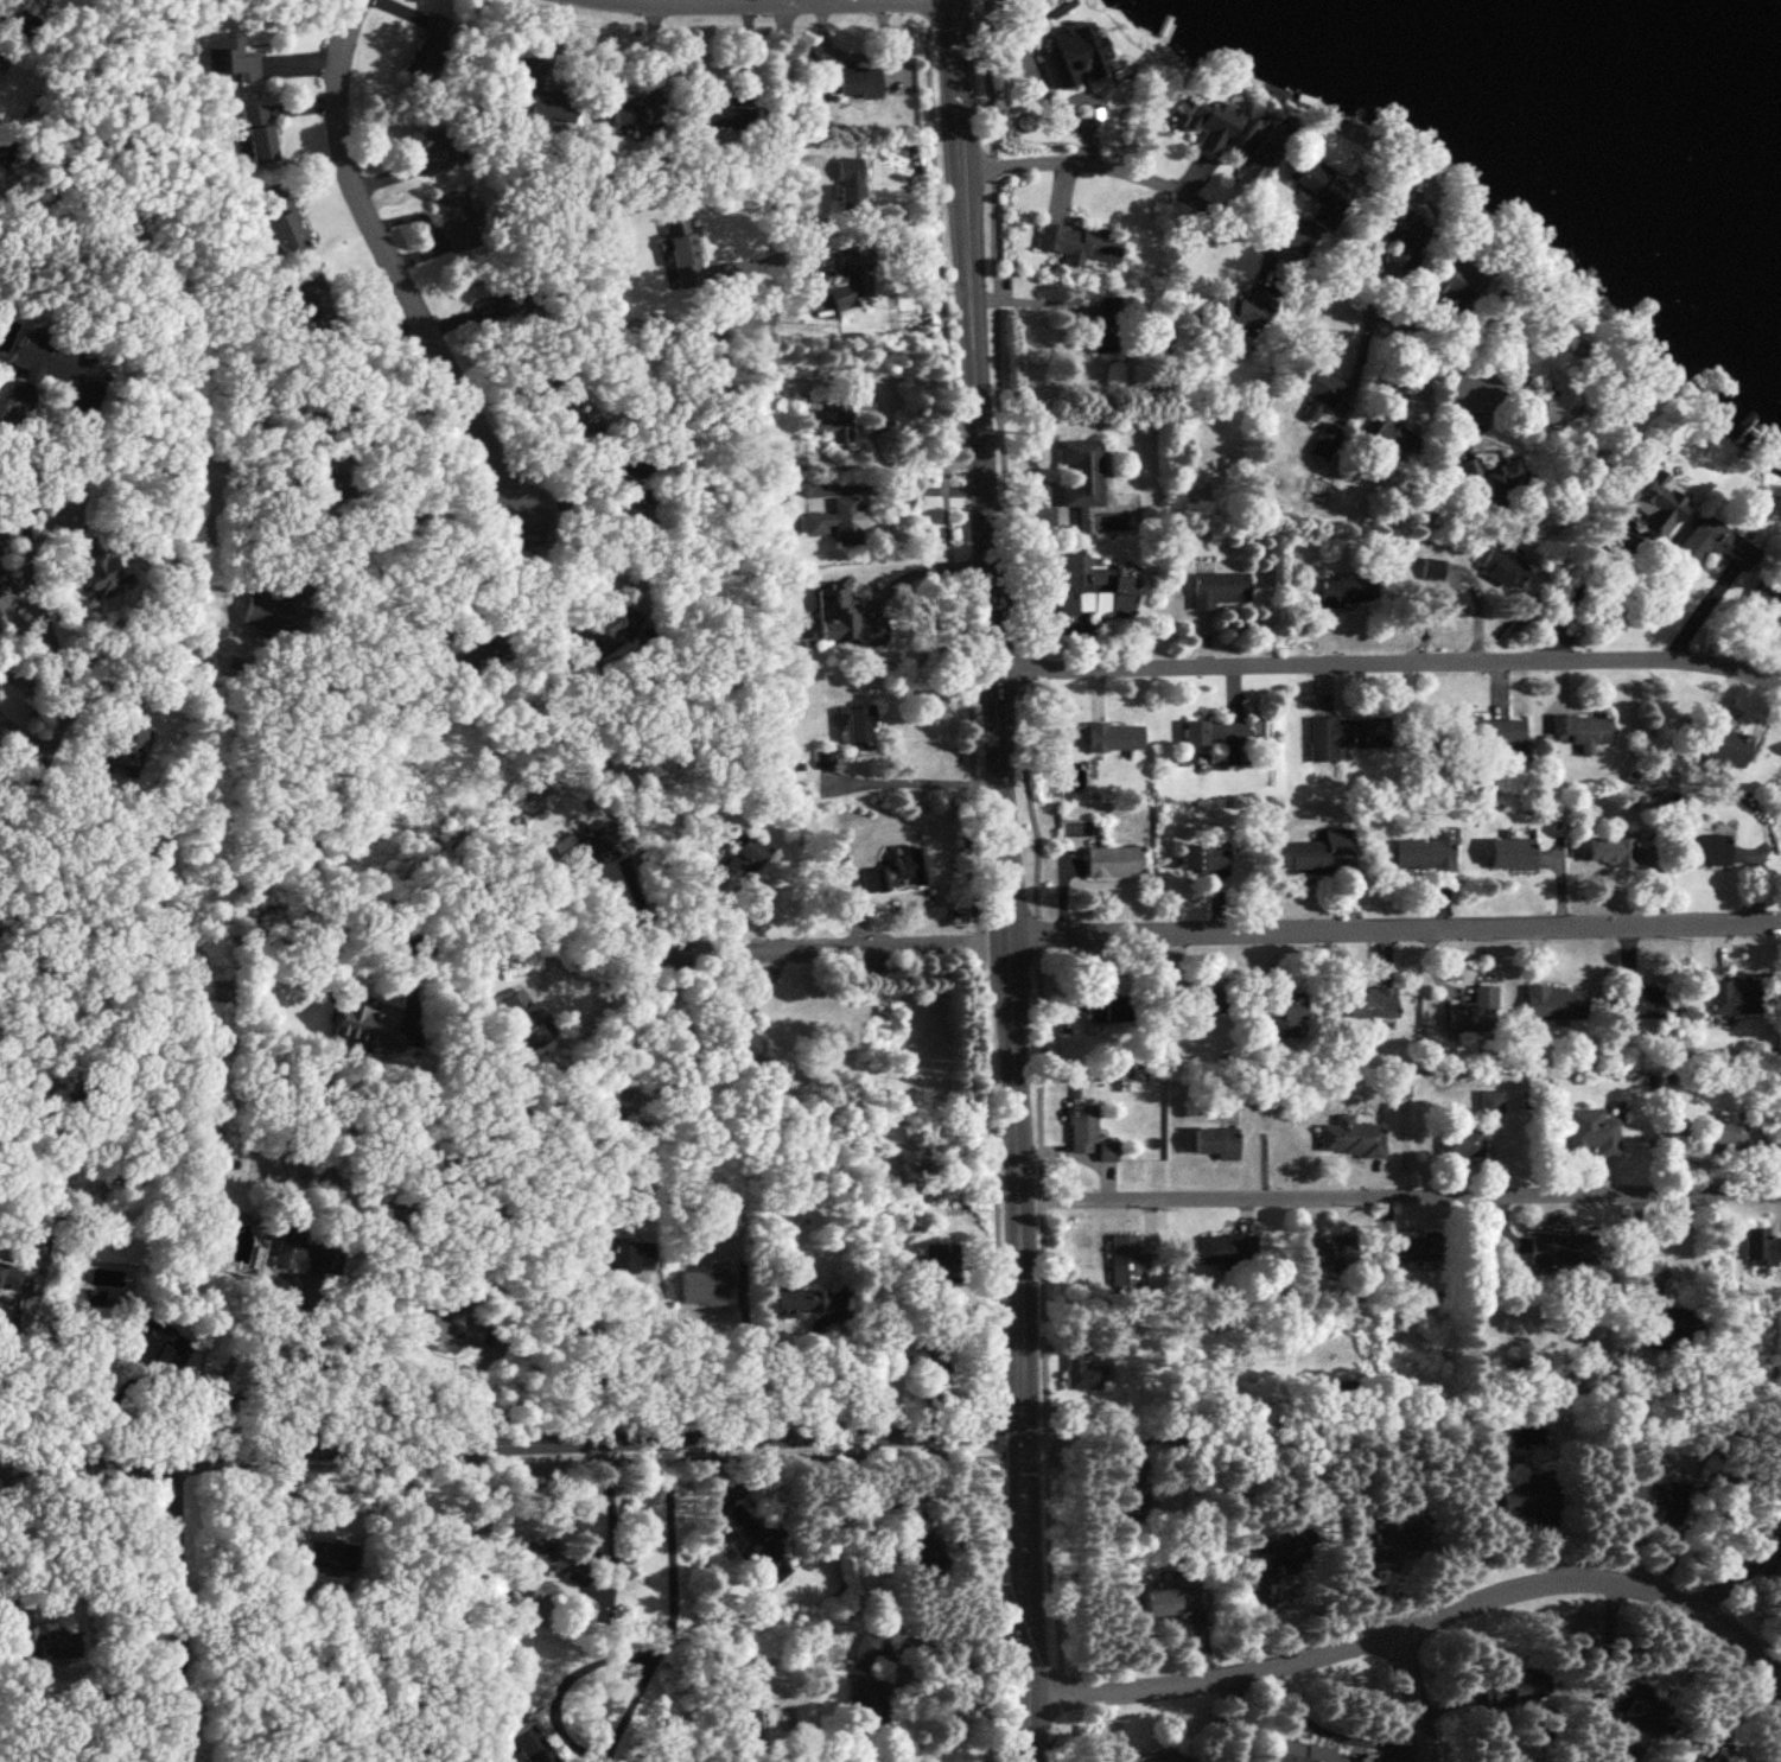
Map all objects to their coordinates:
road: (744, 1)
building: (18, 2)
building: (1071, 30)
building: (427, 44)
building: (229, 58)
river: (1720, 70)
building: (851, 82)
building: (540, 96)
building: (707, 113)
building: (635, 114)
building: (1206, 122)
building: (256, 133)
building: (1254, 148)
building: (433, 150)
road: (776, 150)
building: (847, 185)
building: (1316, 189)
building: (454, 222)
building: (285, 230)
road: (1251, 231)
building: (1393, 233)
building: (1079, 243)
building: (681, 253)
road: (388, 268)
building: (851, 278)
building: (1455, 281)
building: (304, 292)
building: (500, 305)
road: (1029, 307)
building: (1241, 313)
building: (1106, 326)
building: (28, 355)
building: (1550, 379)
building: (1317, 390)
road: (402, 409)
building: (566, 412)
building: (829, 422)
building: (1393, 438)
building: (1324, 440)
road: (899, 460)
building: (1080, 472)
building: (1490, 476)
road: (898, 489)
building: (618, 495)
building: (1650, 500)
road: (411, 514)
building: (837, 522)
building: (1712, 545)
road: (1595, 558)
road: (923, 568)
building: (1499, 568)
building: (97, 571)
road: (11, 581)
road: (541, 586)
building: (1217, 589)
building: (1090, 590)
building: (1344, 590)
building: (1766, 599)
building: (275, 611)
building: (0, 623)
building: (593, 635)
building: (472, 647)
road: (1389, 666)
road: (967, 714)
building: (857, 725)
building: (1578, 730)
building: (1213, 732)
building: (1478, 732)
building: (1343, 736)
building: (1112, 737)
building: (1723, 745)
building: (116, 749)
road: (1025, 769)
road: (915, 782)
building: (586, 846)
building: (1703, 850)
building: (1607, 851)
building: (1425, 852)
building: (1508, 853)
building: (1296, 857)
building: (1201, 859)
building: (1111, 861)
building: (736, 864)
road: (1005, 880)
road: (520, 929)
road: (1394, 929)
road: (840, 942)
road: (611, 979)
building: (1738, 998)
building: (1195, 1001)
building: (1646, 1001)
building: (1553, 1003)
building: (1370, 1005)
building: (1103, 1009)
building: (1280, 1011)
building: (1472, 1013)
building: (523, 1019)
building: (362, 1026)
building: (738, 1038)
building: (1590, 1133)
building: (1087, 1134)
building: (1723, 1137)
building: (1351, 1139)
building: (1461, 1143)
building: (1211, 1144)
road: (1400, 1195)
building: (1760, 1245)
building: (1227, 1248)
building: (1559, 1249)
building: (1408, 1251)
building: (1331, 1254)
building: (1121, 1255)
building: (298, 1257)
building: (625, 1258)
building: (936, 1268)
building: (5, 1272)
building: (701, 1289)
building: (793, 1303)
road: (322, 1309)
building: (1668, 1323)
building: (444, 1335)
building: (158, 1343)
road: (13, 1359)
road: (606, 1361)
building: (1081, 1368)
road: (746, 1372)
road: (476, 1393)
road: (511, 1445)
road: (498, 1463)
building: (1132, 1481)
building: (1654, 1497)
building: (1520, 1499)
road: (612, 1515)
road: (6, 1525)
building: (758, 1539)
building: (1388, 1541)
road: (943, 1546)
building: (323, 1553)
building: (1272, 1553)
building: (551, 1561)
road: (1050, 1578)
building: (1168, 1599)
road: (177, 1607)
road: (999, 1612)
road: (962, 1630)
road: (1398, 1631)
building: (37, 1645)
road: (1767, 1665)
building: (867, 1666)
building: (1519, 1688)
road: (1419, 1694)
road: (630, 1701)
building: (1631, 1703)
road: (1230, 1719)
road: (1332, 1735)
building: (527, 1744)
building: (1303, 1751)
building: (1152, 1758)
building: (1716, 1758)

